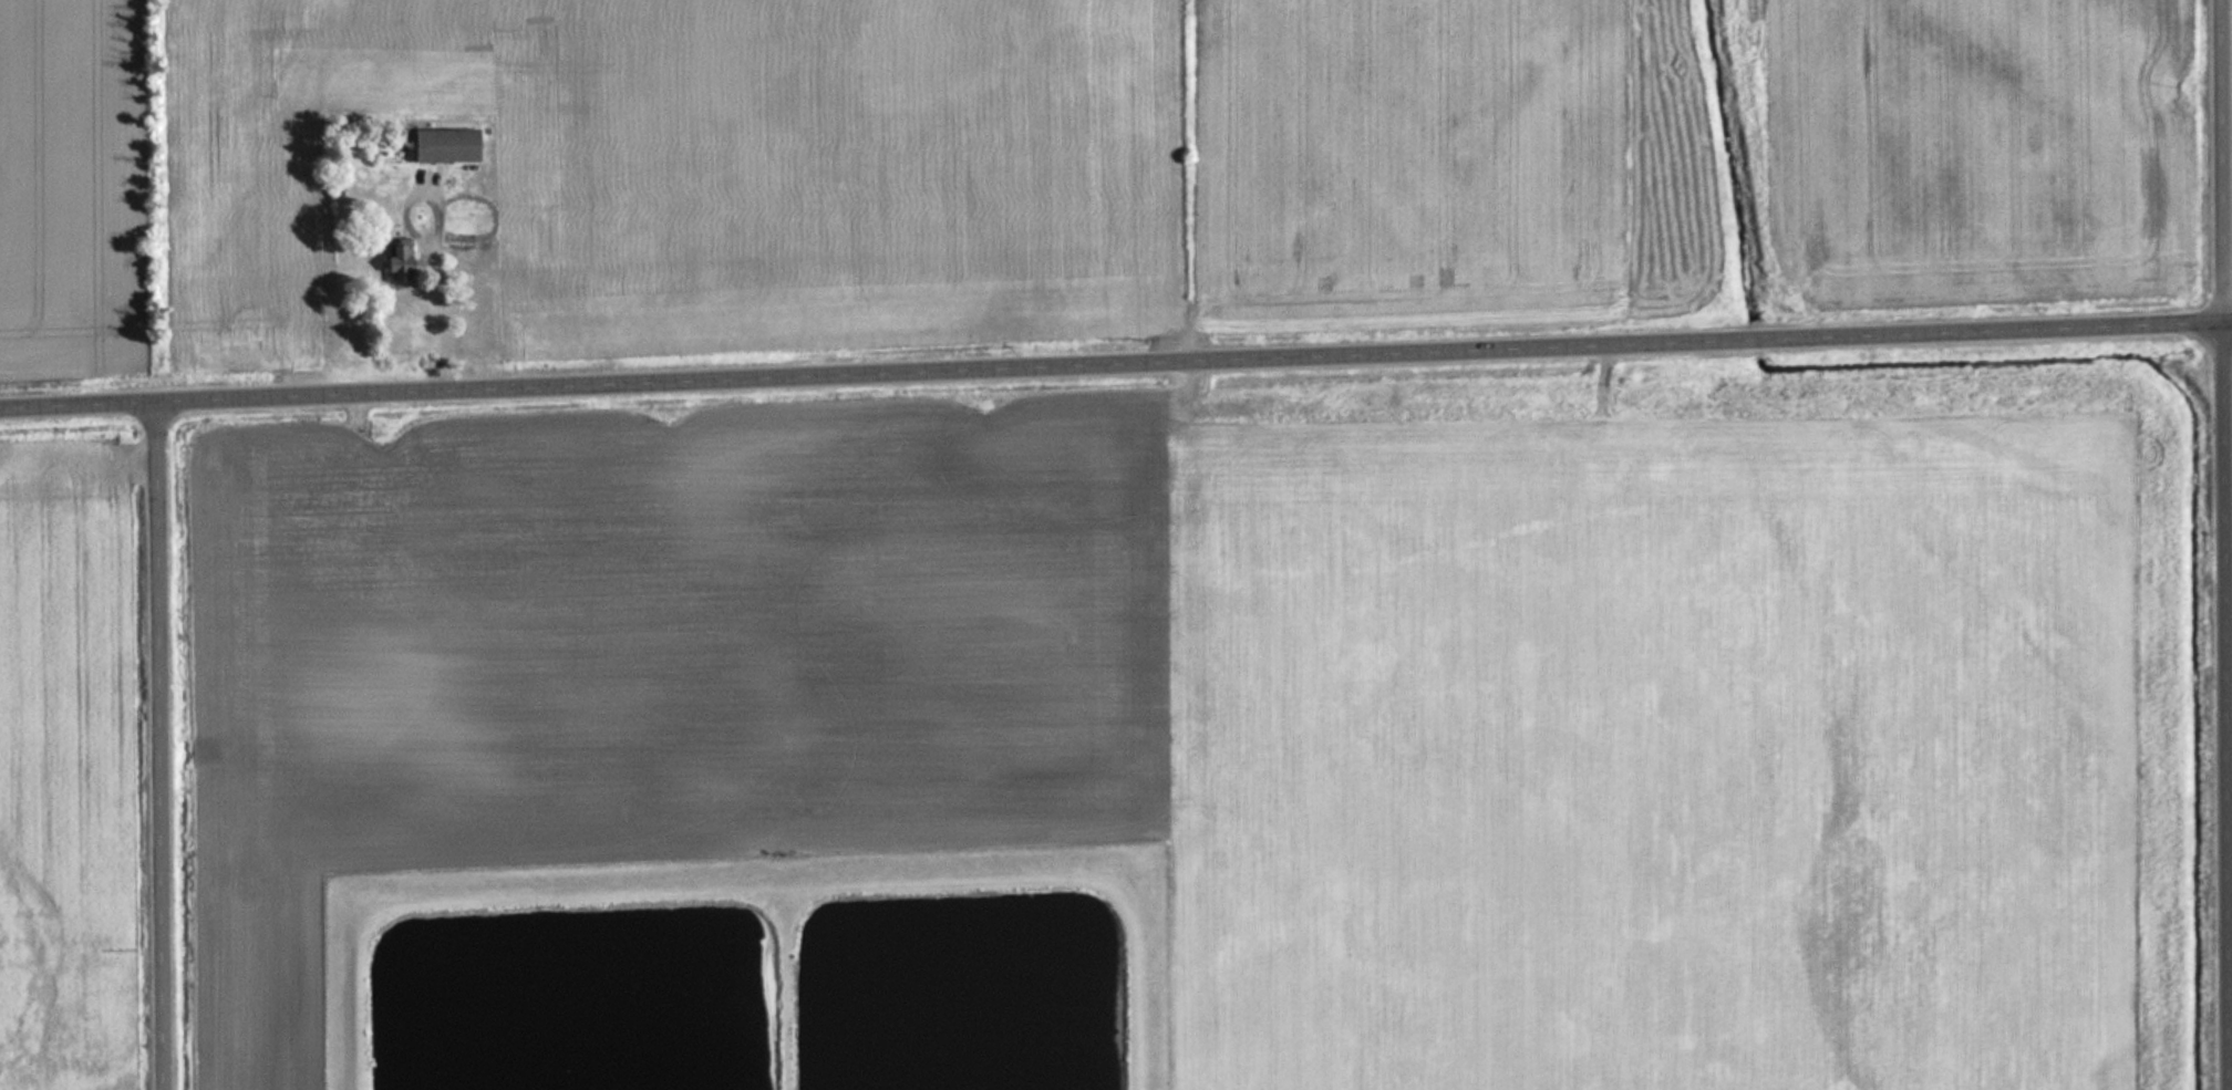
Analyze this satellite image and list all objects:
building: (446, 145)
building: (399, 262)
road: (1115, 364)
road: (2225, 544)
road: (165, 745)

